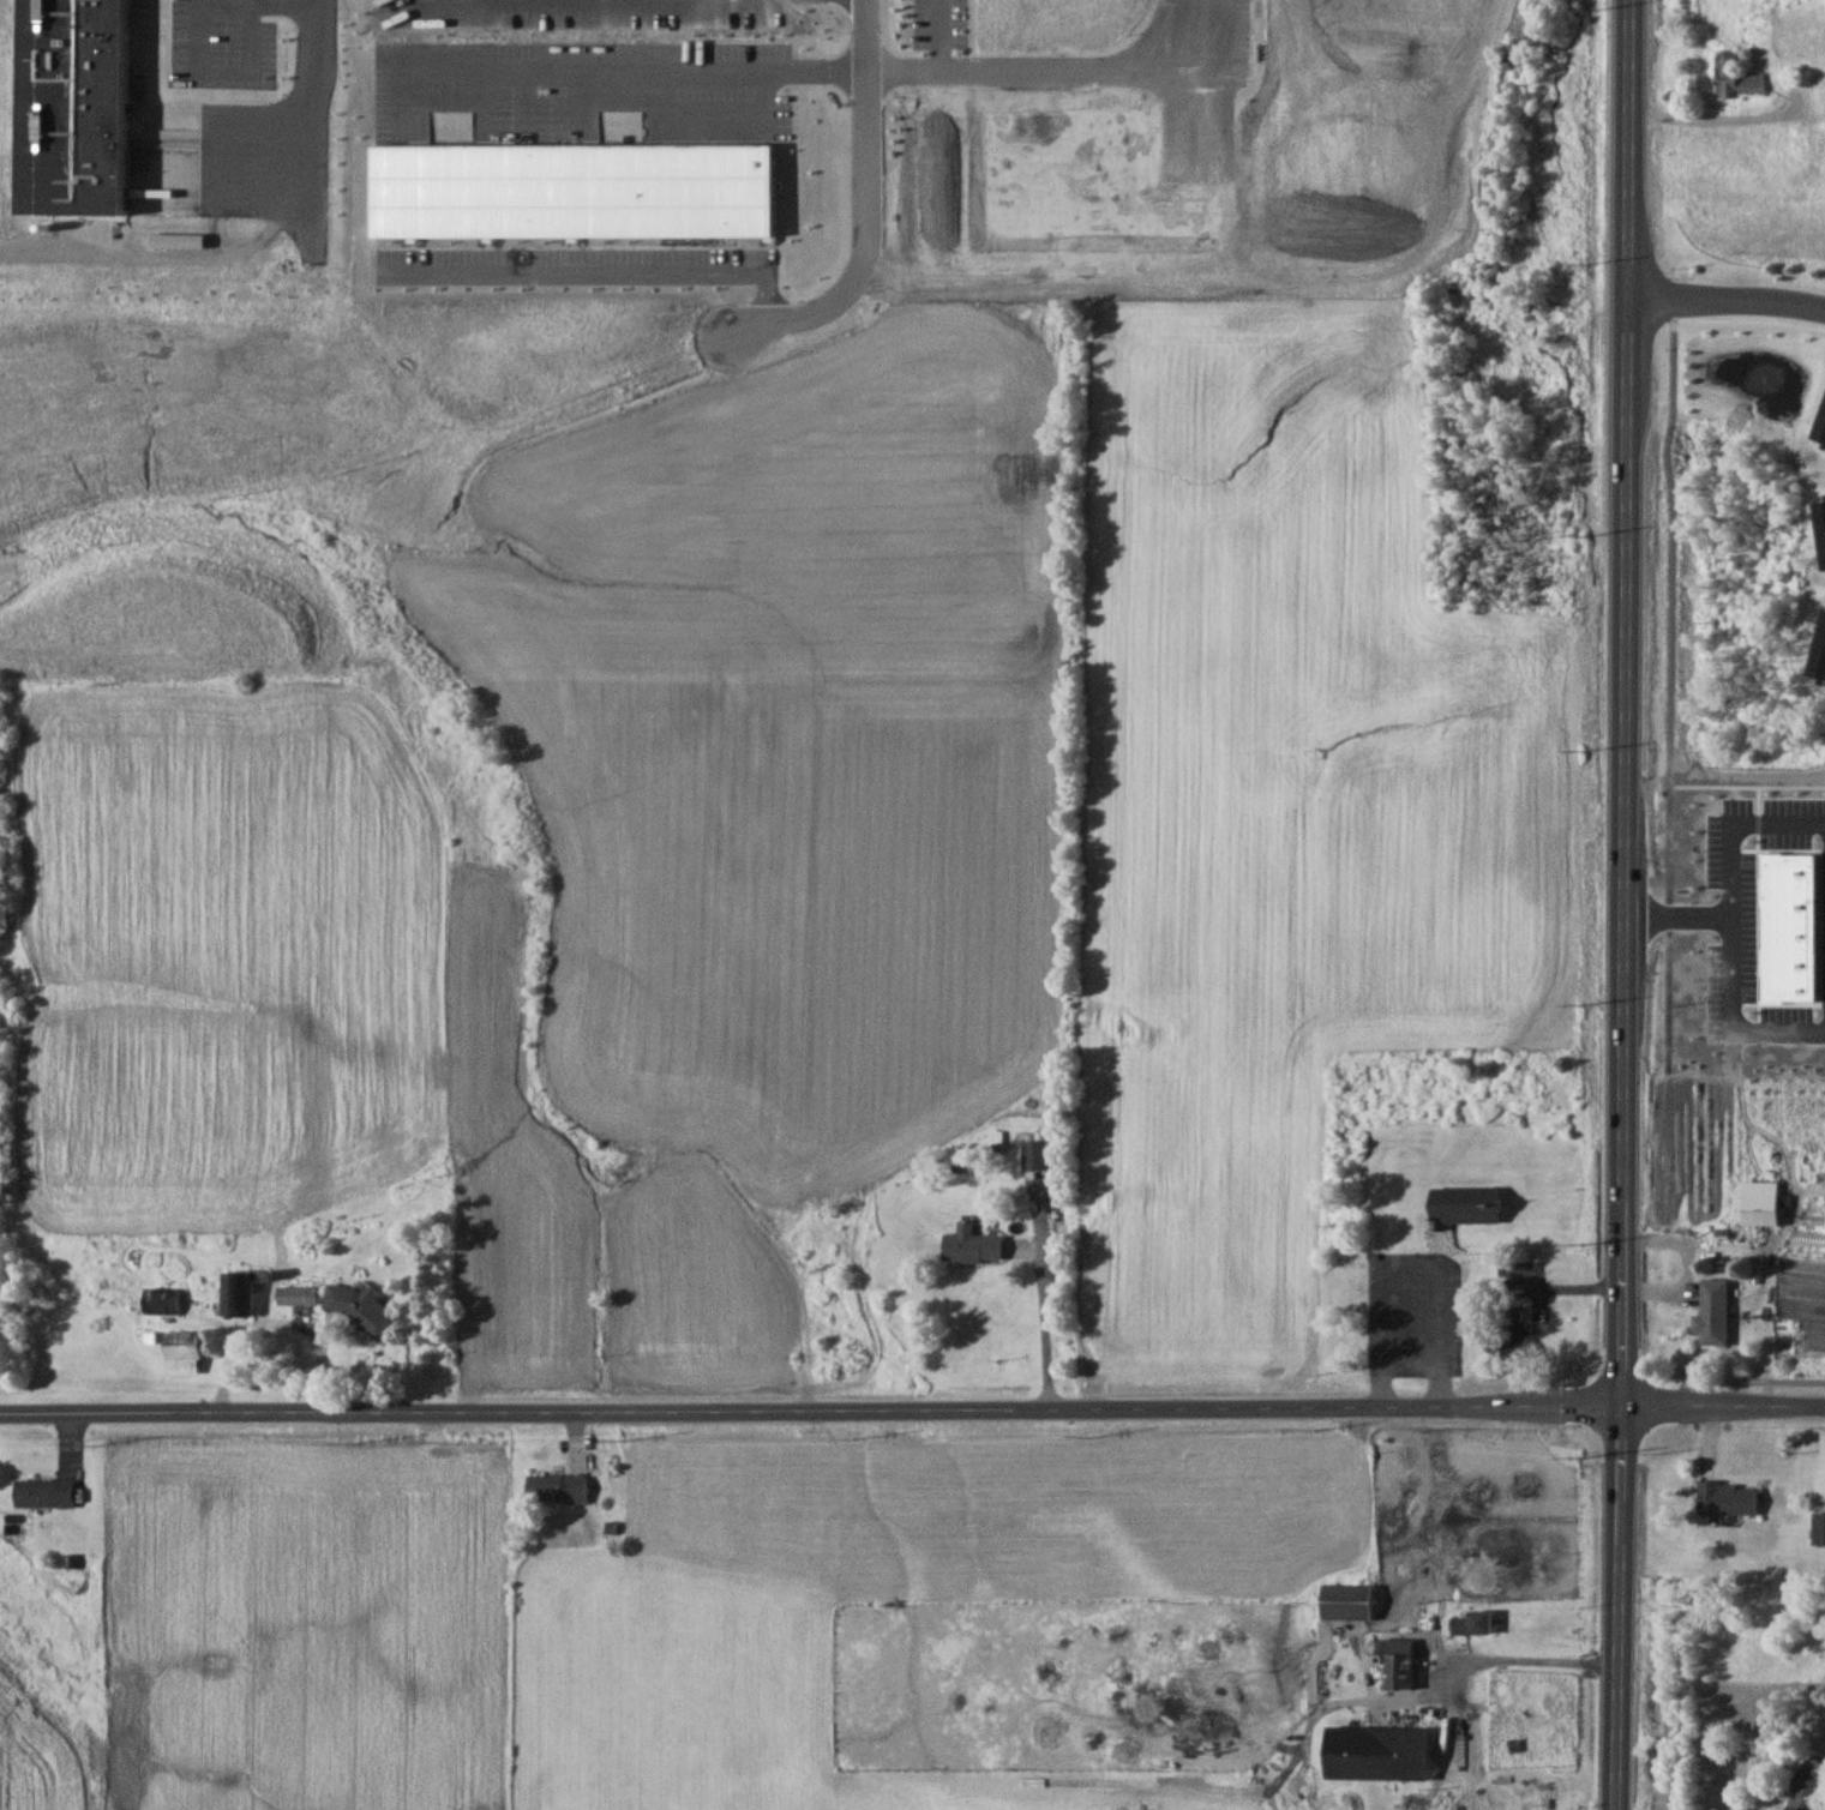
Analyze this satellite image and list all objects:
road: (260, 6)
road: (935, 32)
road: (1067, 65)
building: (1736, 78)
road: (257, 79)
road: (647, 83)
road: (314, 106)
road: (870, 220)
road: (155, 259)
road: (602, 276)
road: (1727, 303)
road: (1735, 861)
road: (1622, 904)
road: (1740, 988)
building: (1033, 1155)
building: (1758, 1203)
building: (1463, 1205)
building: (969, 1245)
road: (1416, 1255)
building: (236, 1294)
building: (296, 1295)
building: (161, 1301)
building: (355, 1306)
building: (1711, 1313)
road: (1040, 1324)
building: (1514, 1334)
building: (181, 1353)
road: (1723, 1378)
road: (912, 1402)
building: (556, 1489)
building: (42, 1493)
building: (1725, 1498)
building: (1819, 1529)
building: (1345, 1602)
building: (1470, 1624)
road: (1519, 1662)
building: (1397, 1665)
building: (1375, 1754)
building: (1807, 1787)

